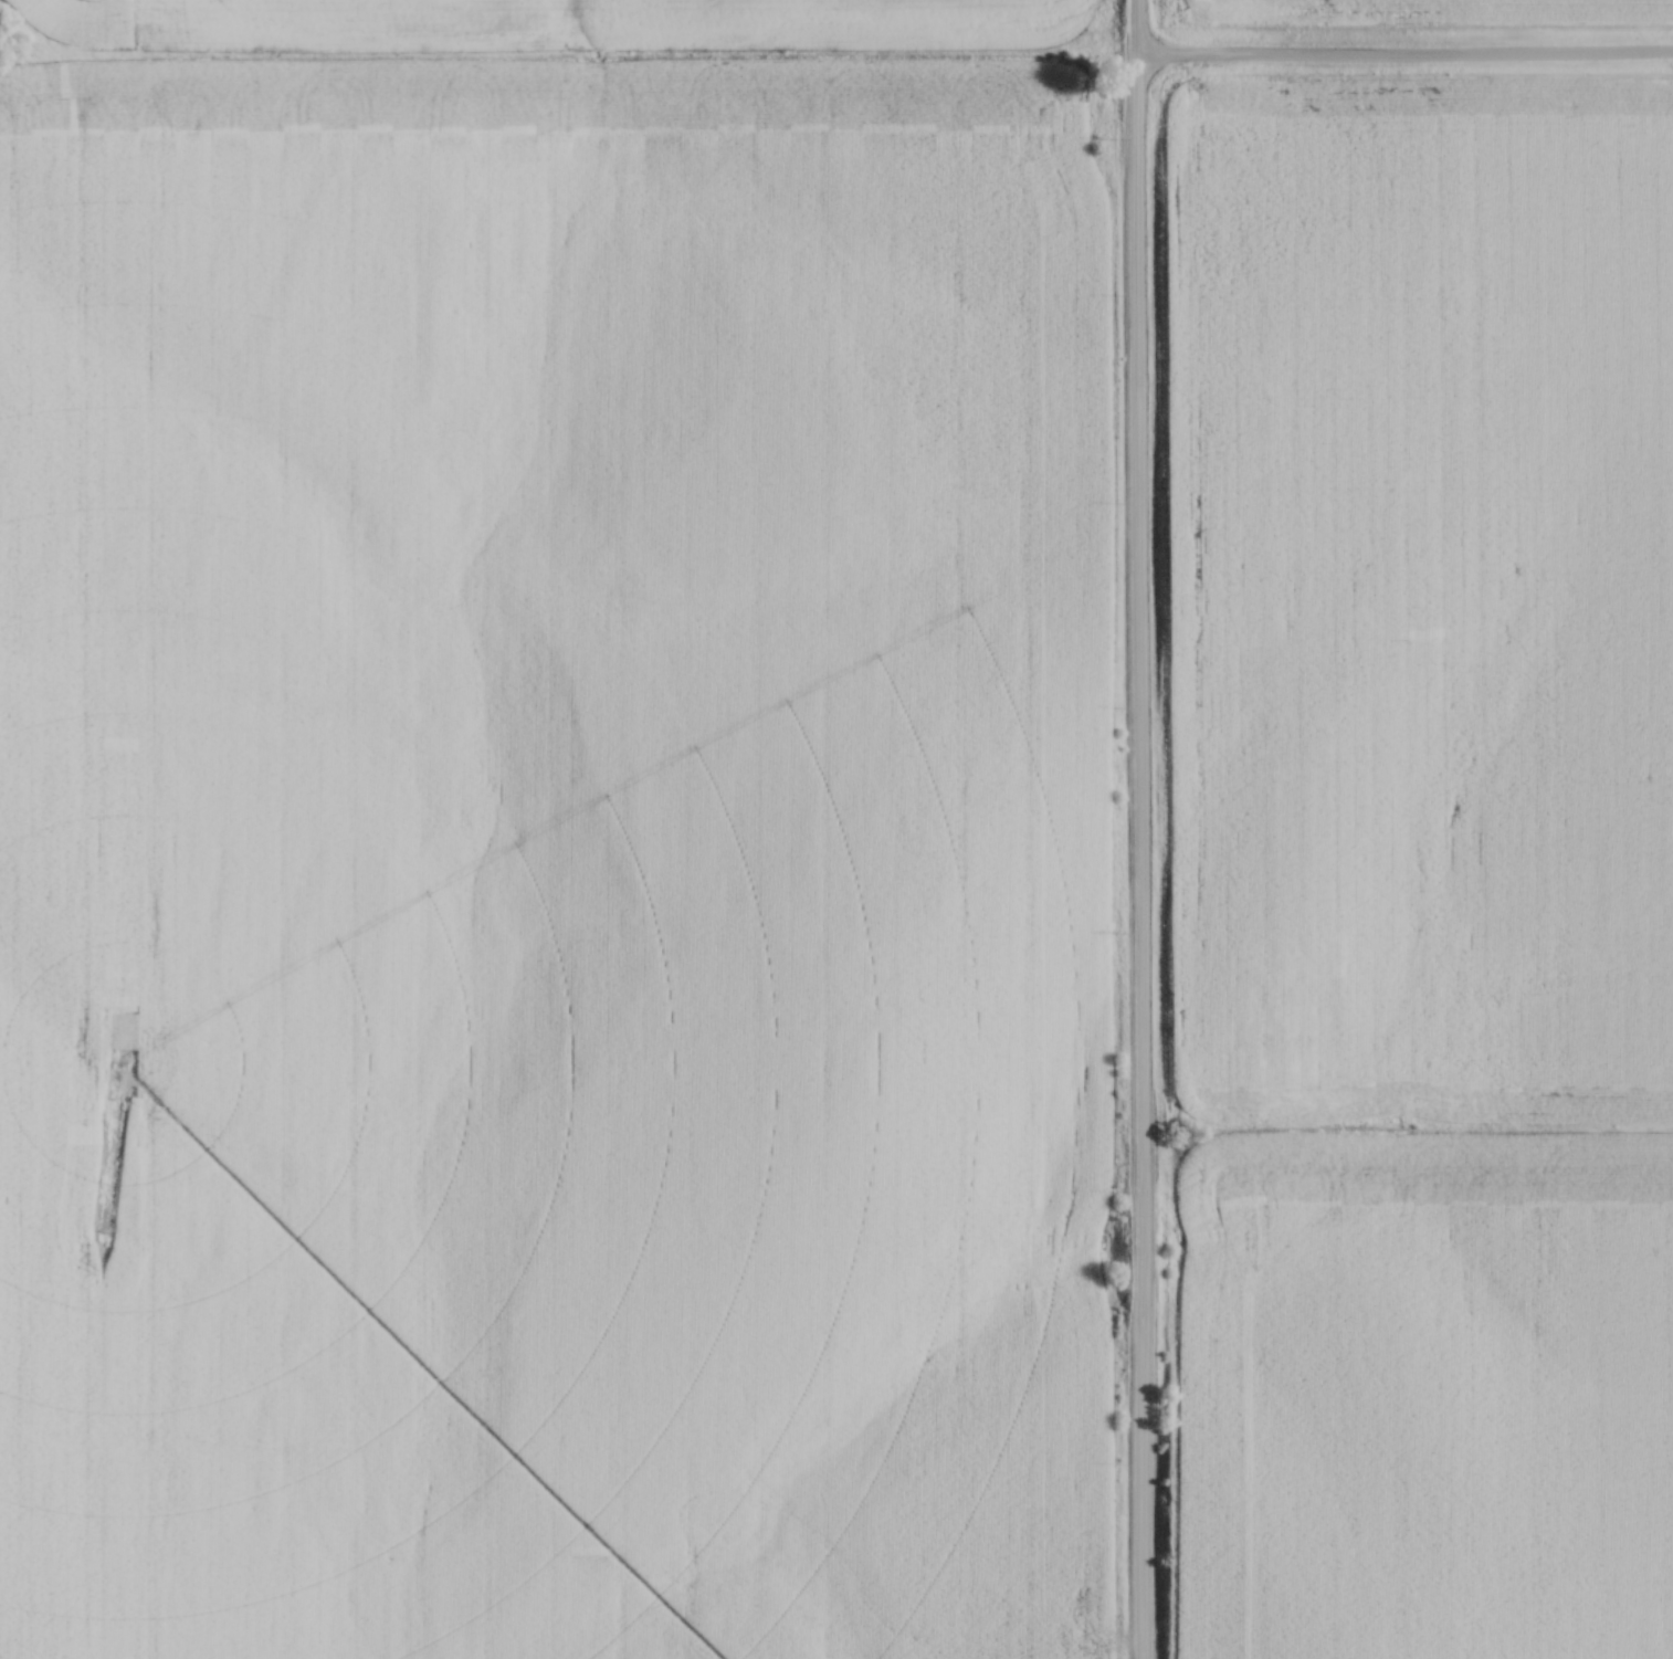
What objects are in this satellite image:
road: (1404, 63)
road: (1138, 829)
crop: (1423, 1394)

